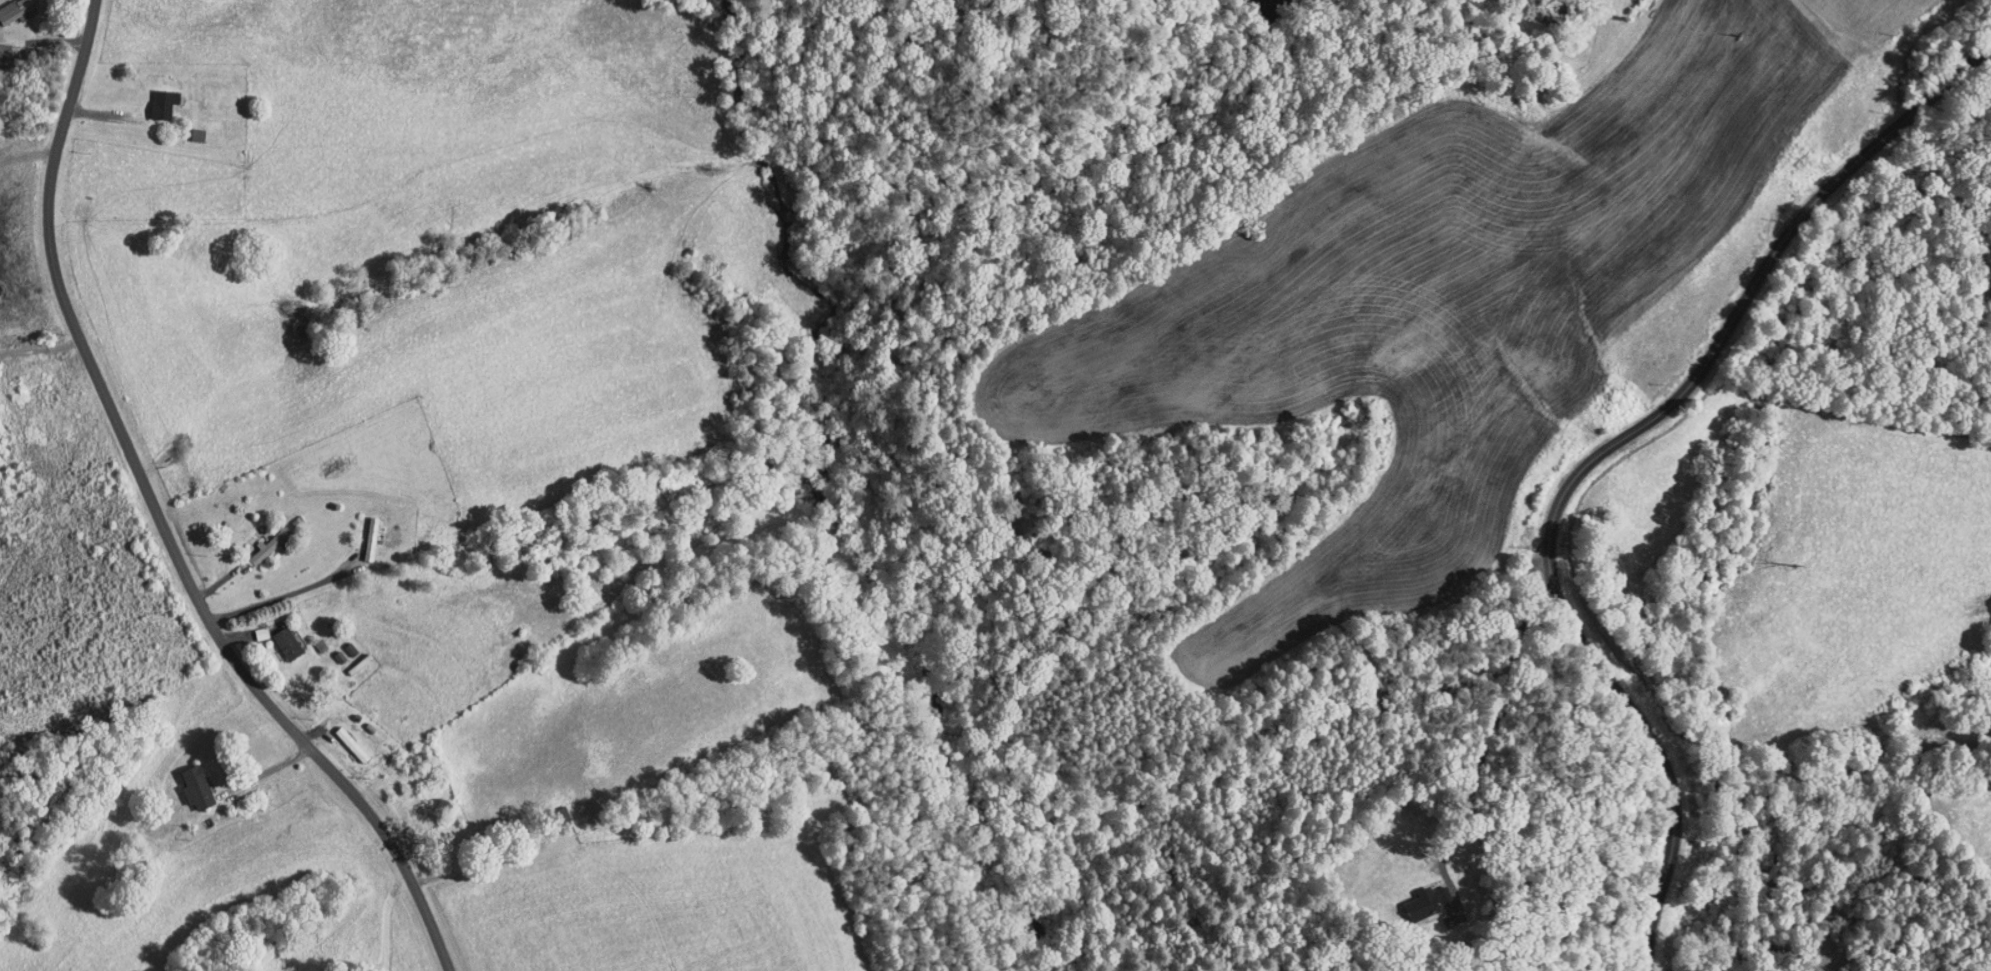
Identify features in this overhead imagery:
road: (1594, 4)
building: (12, 6)
building: (1, 47)
building: (156, 97)
road: (1600, 454)
road: (160, 517)
building: (362, 530)
building: (261, 536)
building: (252, 625)
building: (278, 635)
building: (341, 641)
building: (343, 736)
building: (188, 780)
building: (1421, 894)

